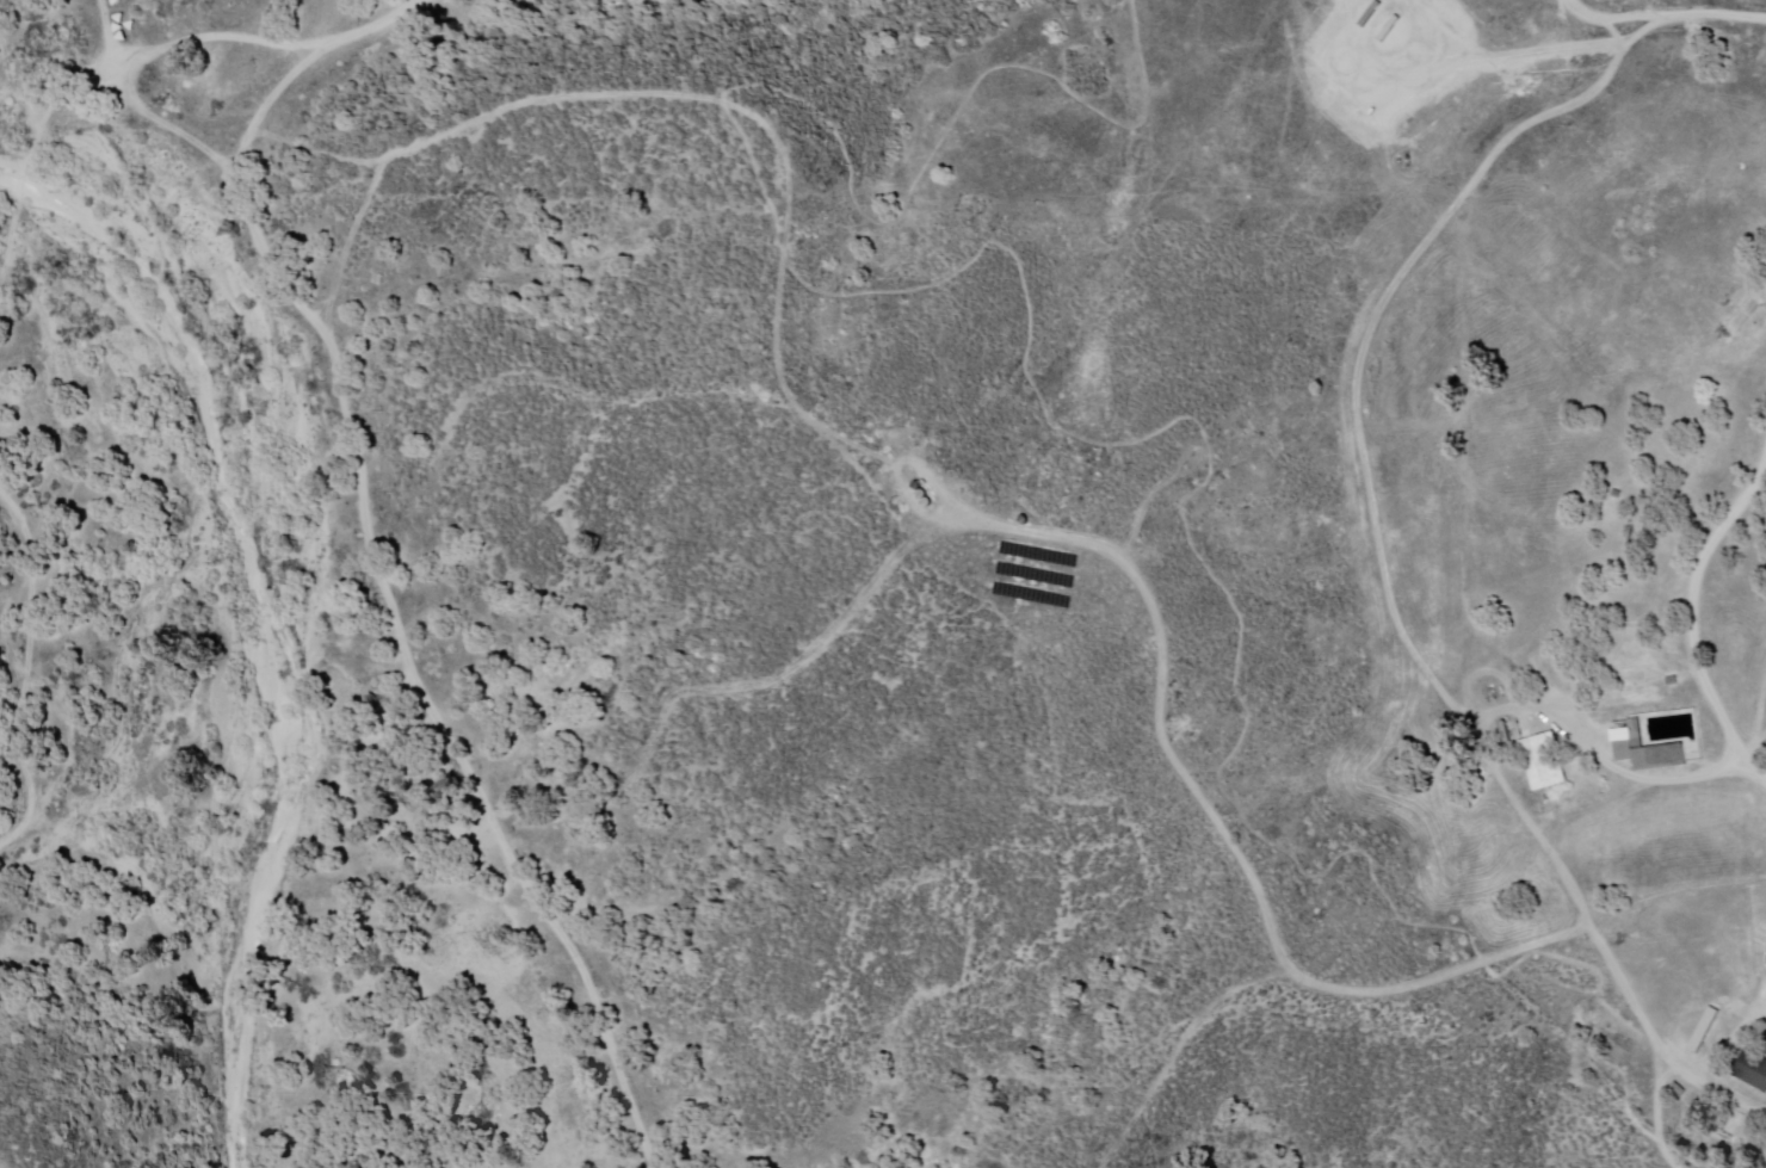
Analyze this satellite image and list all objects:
road: (1673, 10)
road: (214, 101)
road: (37, 154)
building: (1415, 512)
road: (375, 573)
road: (1693, 623)
road: (26, 670)
building: (1656, 742)
building: (1543, 764)
building: (1755, 1070)

